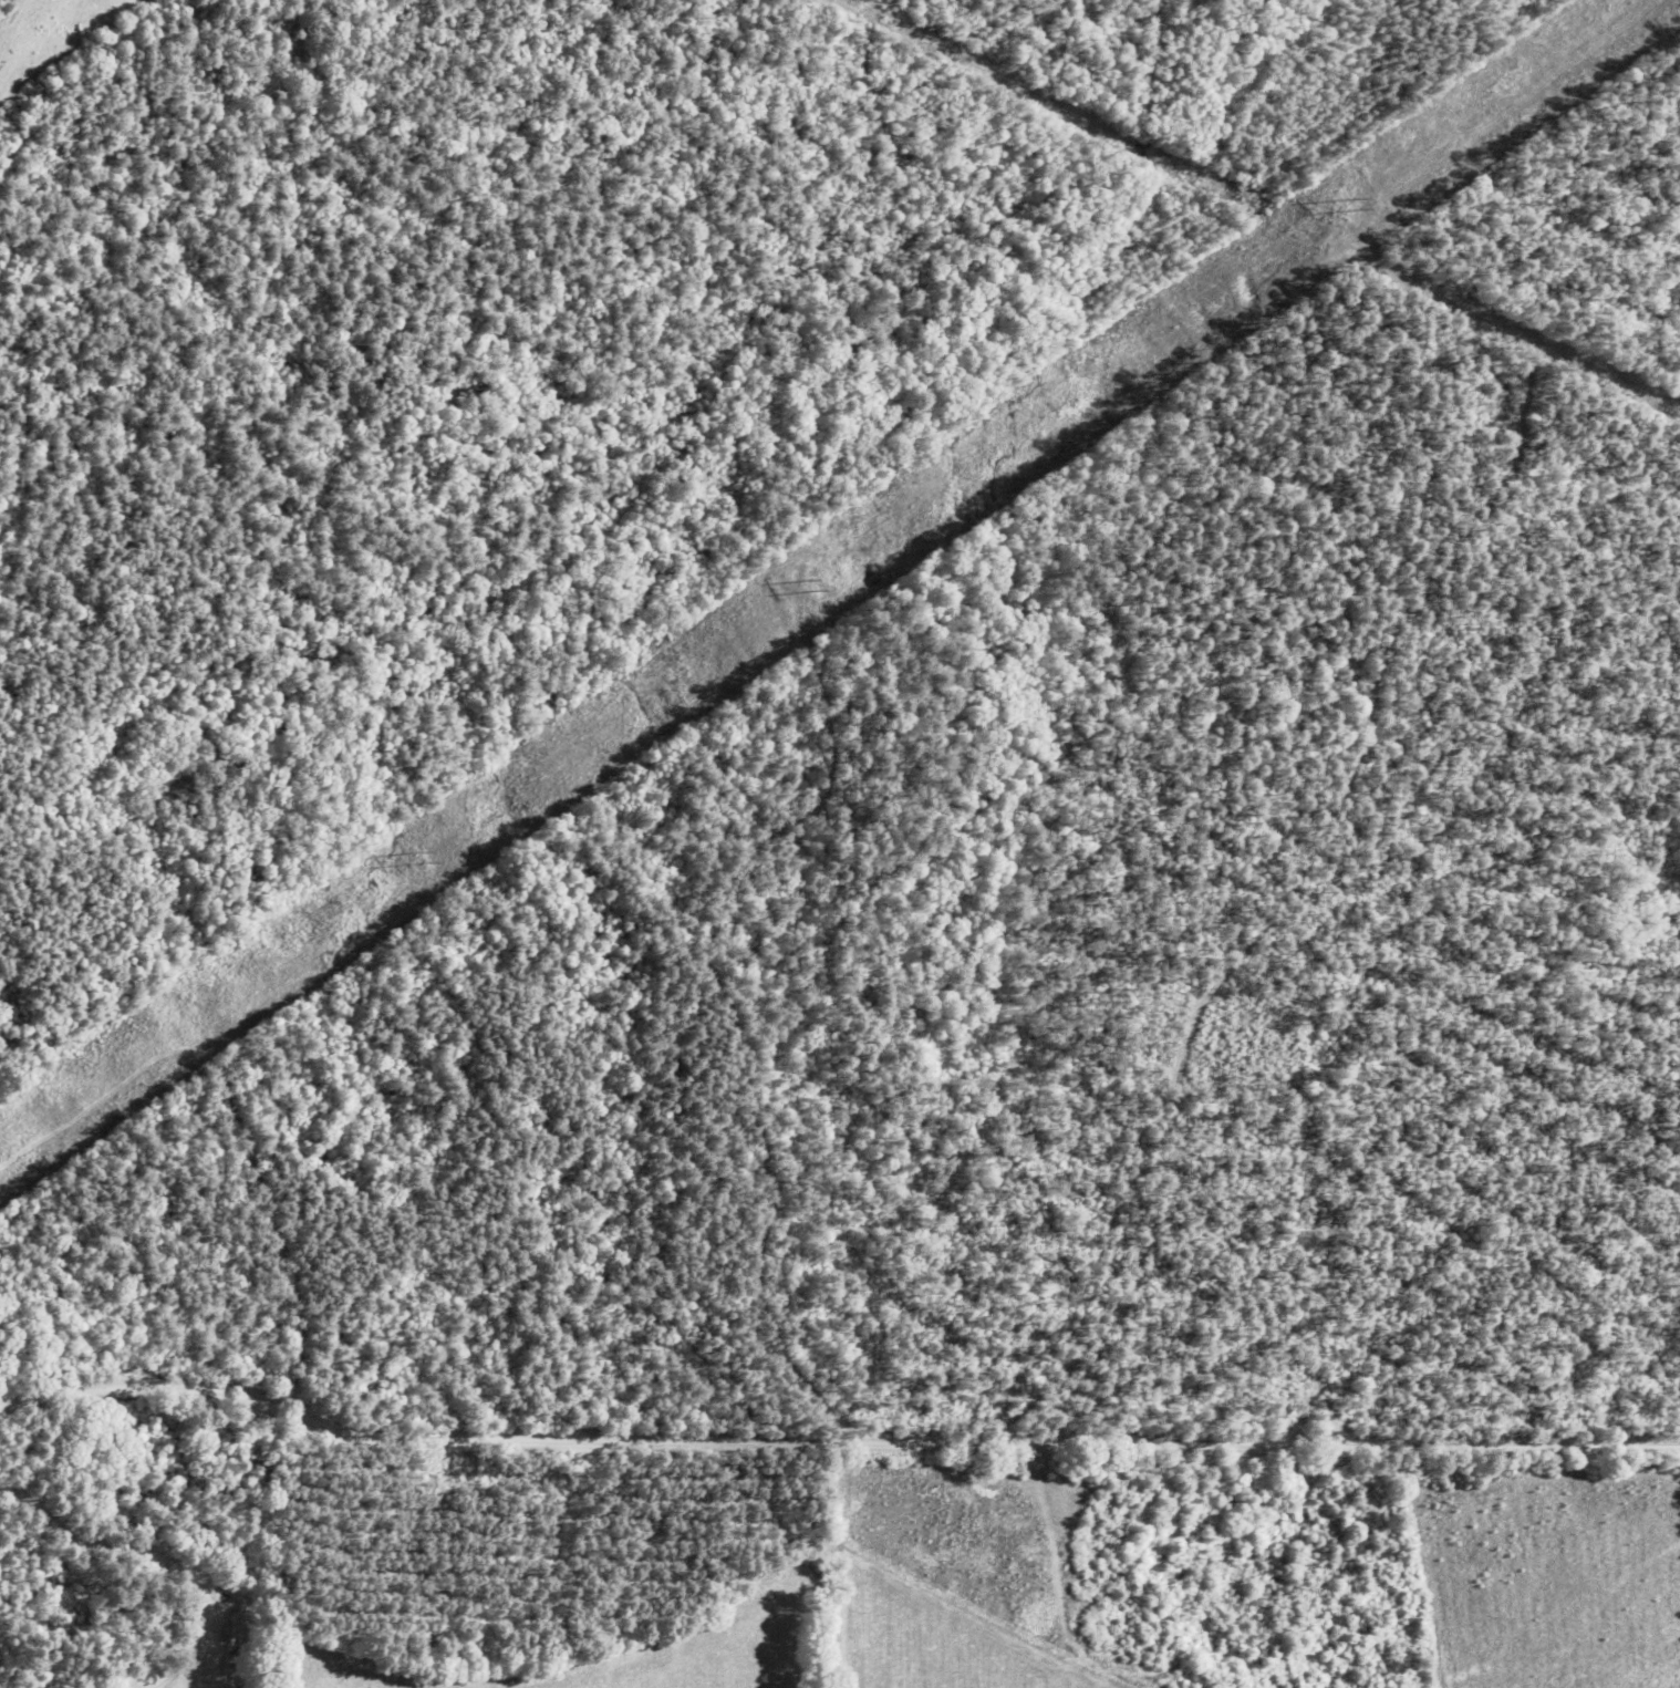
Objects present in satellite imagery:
power tower: (1354, 206)
power tower: (813, 586)
power tower: (422, 860)
road: (834, 1443)

